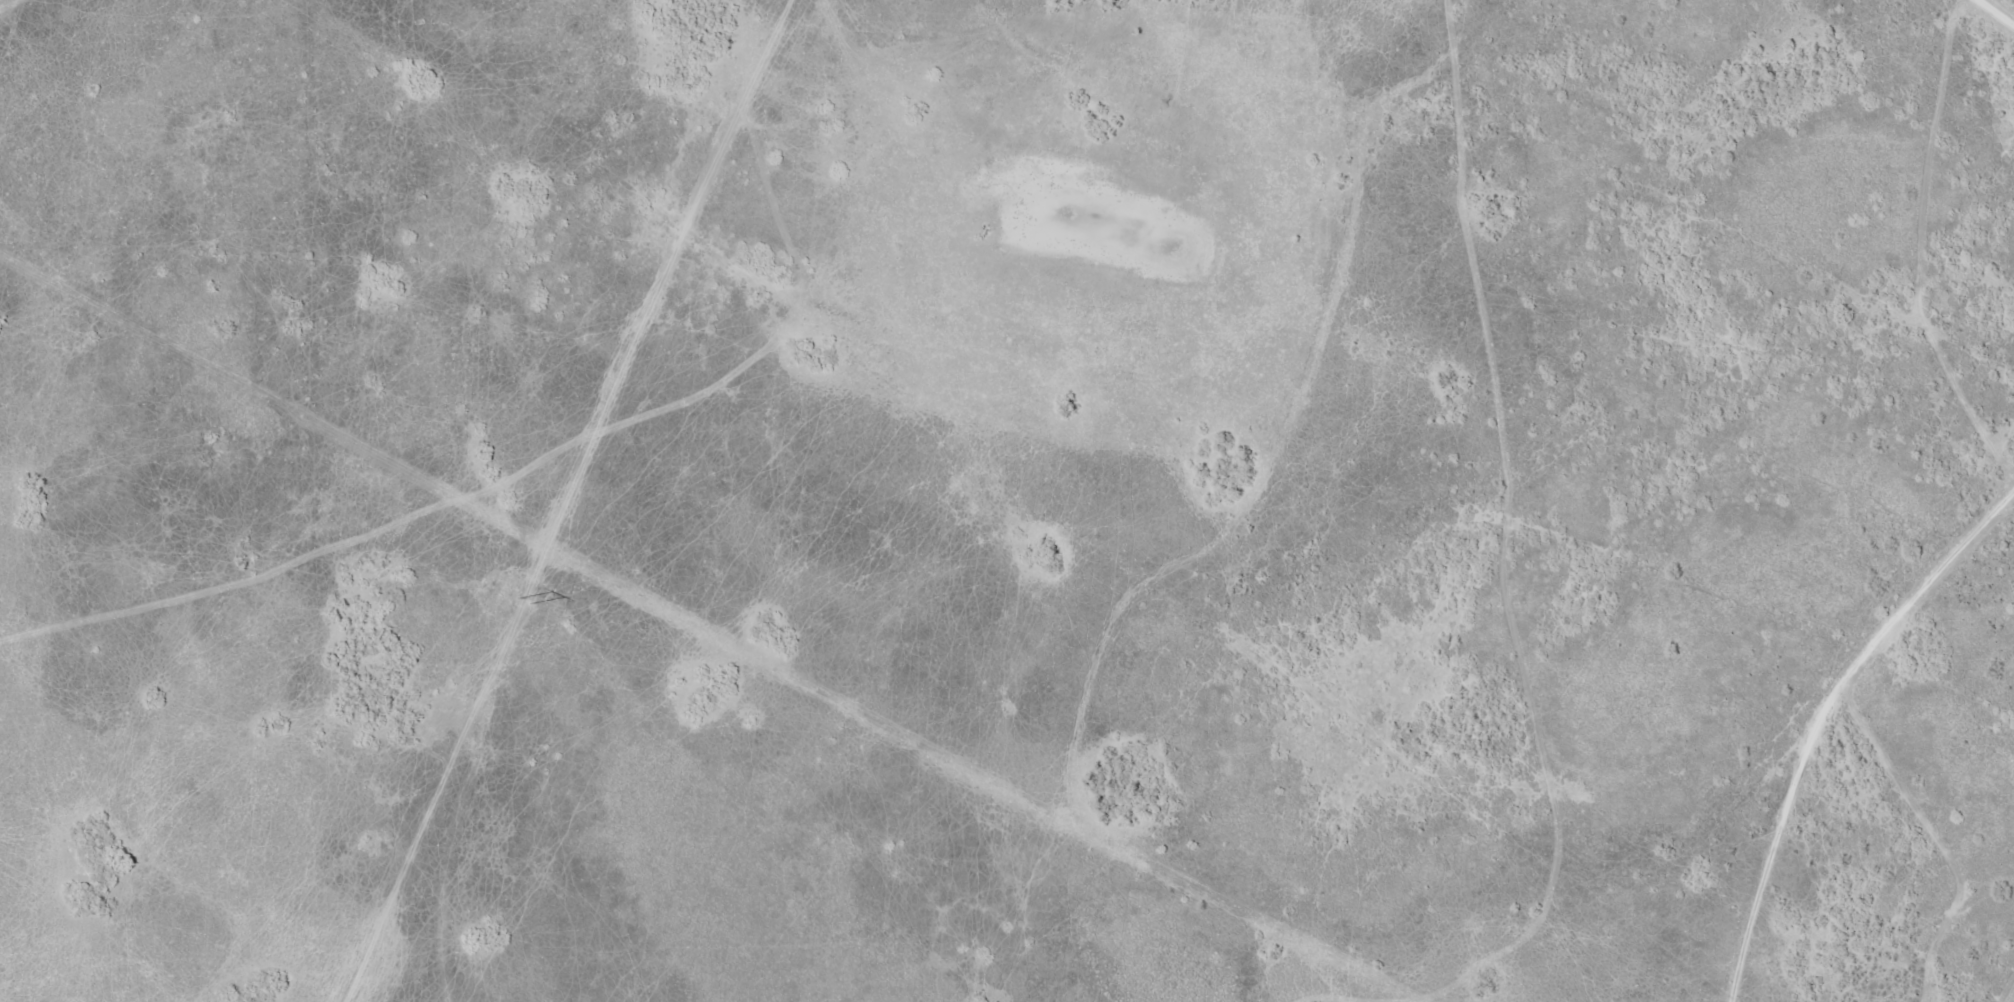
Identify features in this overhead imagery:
road: (1994, 13)
road: (1176, 97)
road: (341, 424)
power tower: (524, 605)

